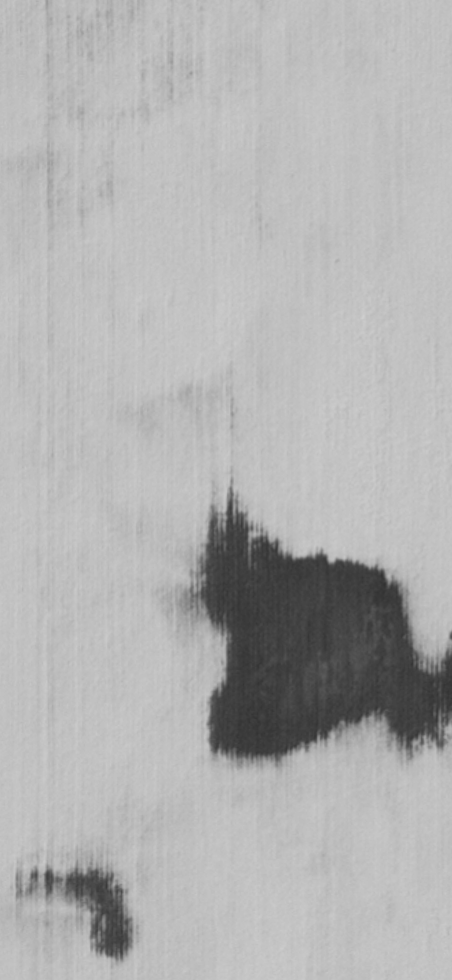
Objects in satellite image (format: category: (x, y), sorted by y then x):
crop: (226, 490)

